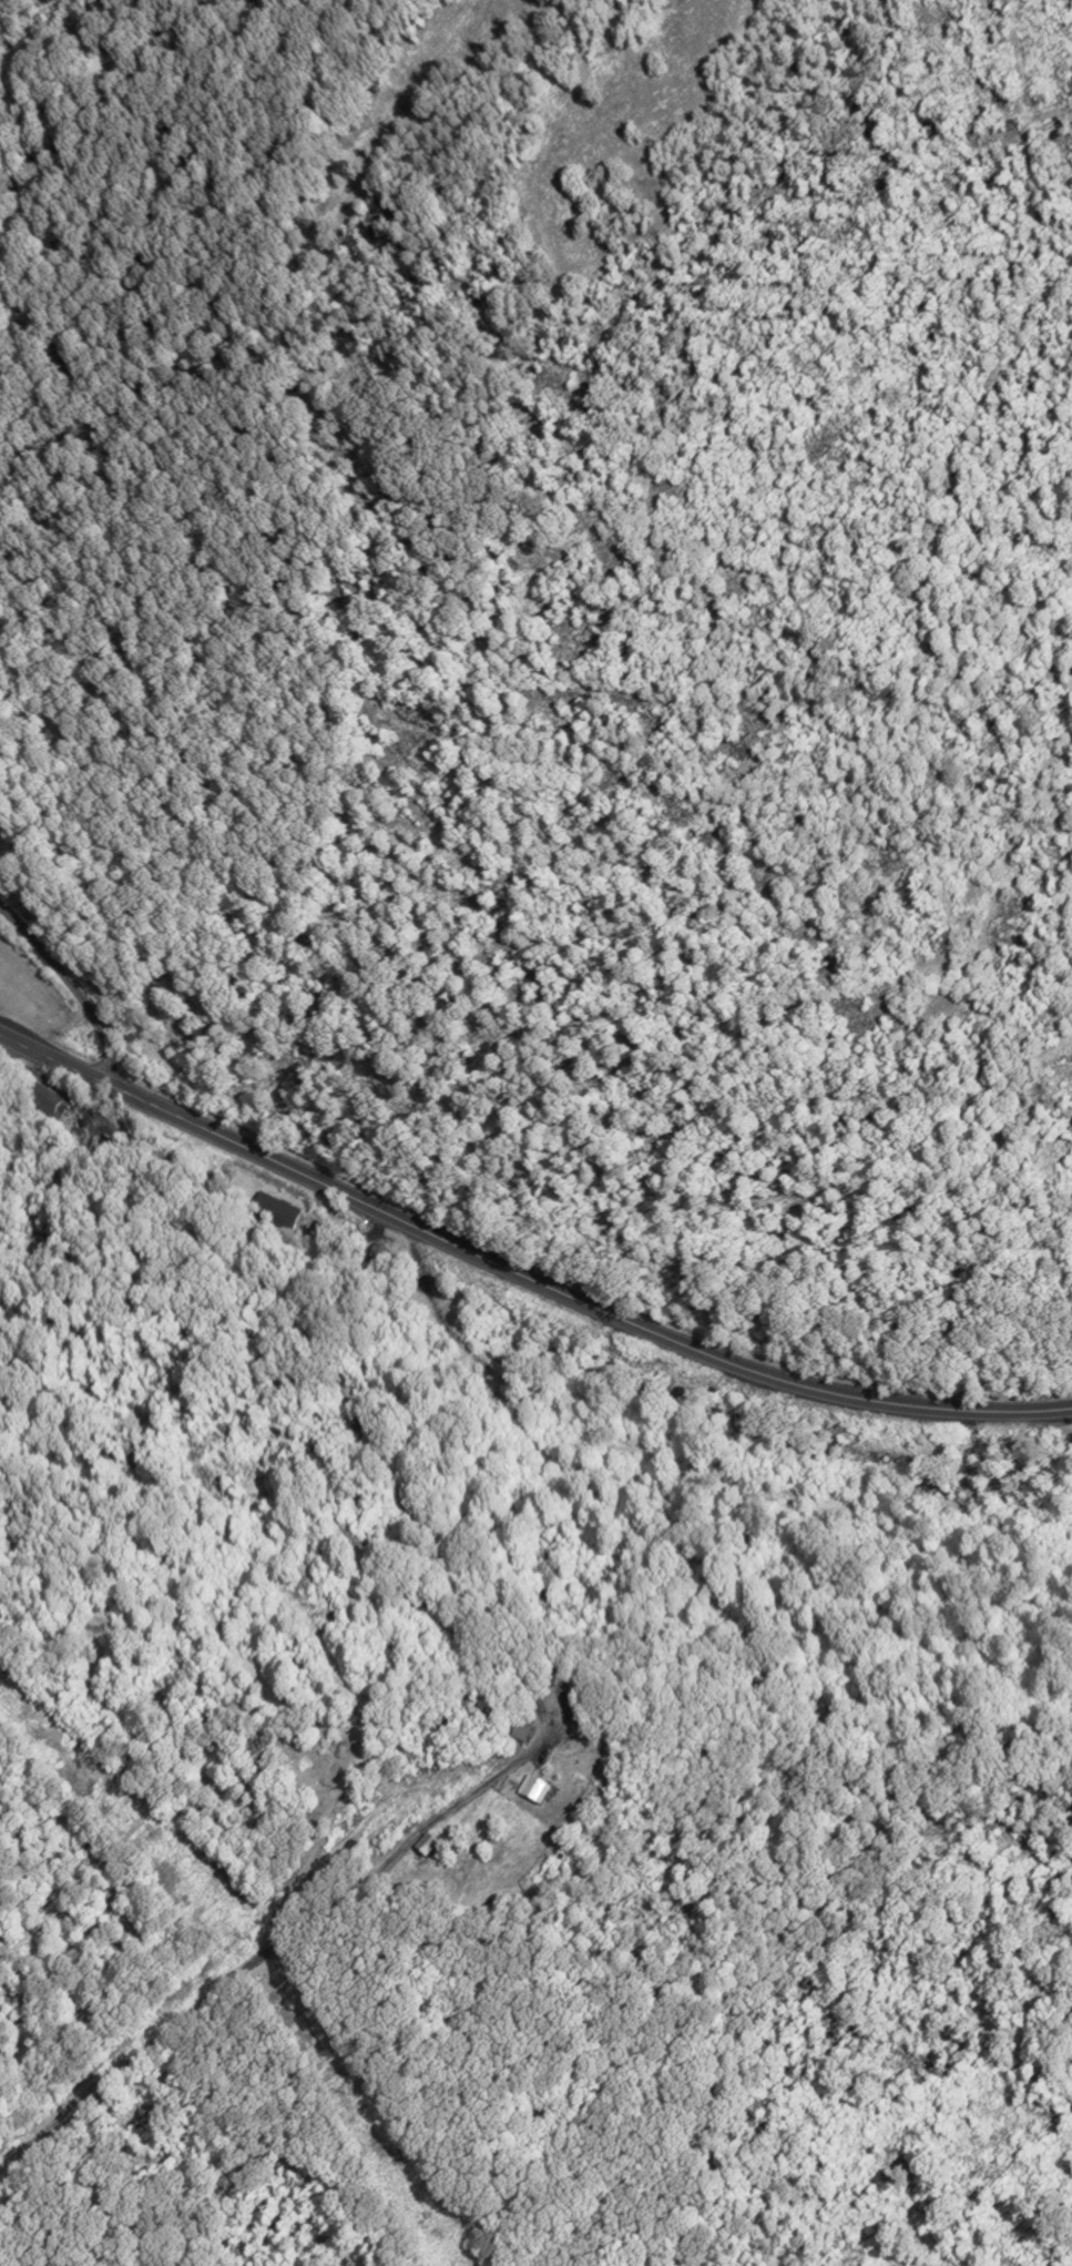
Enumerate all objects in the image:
road: (71, 982)
road: (104, 1149)
road: (521, 1271)
road: (497, 1759)

